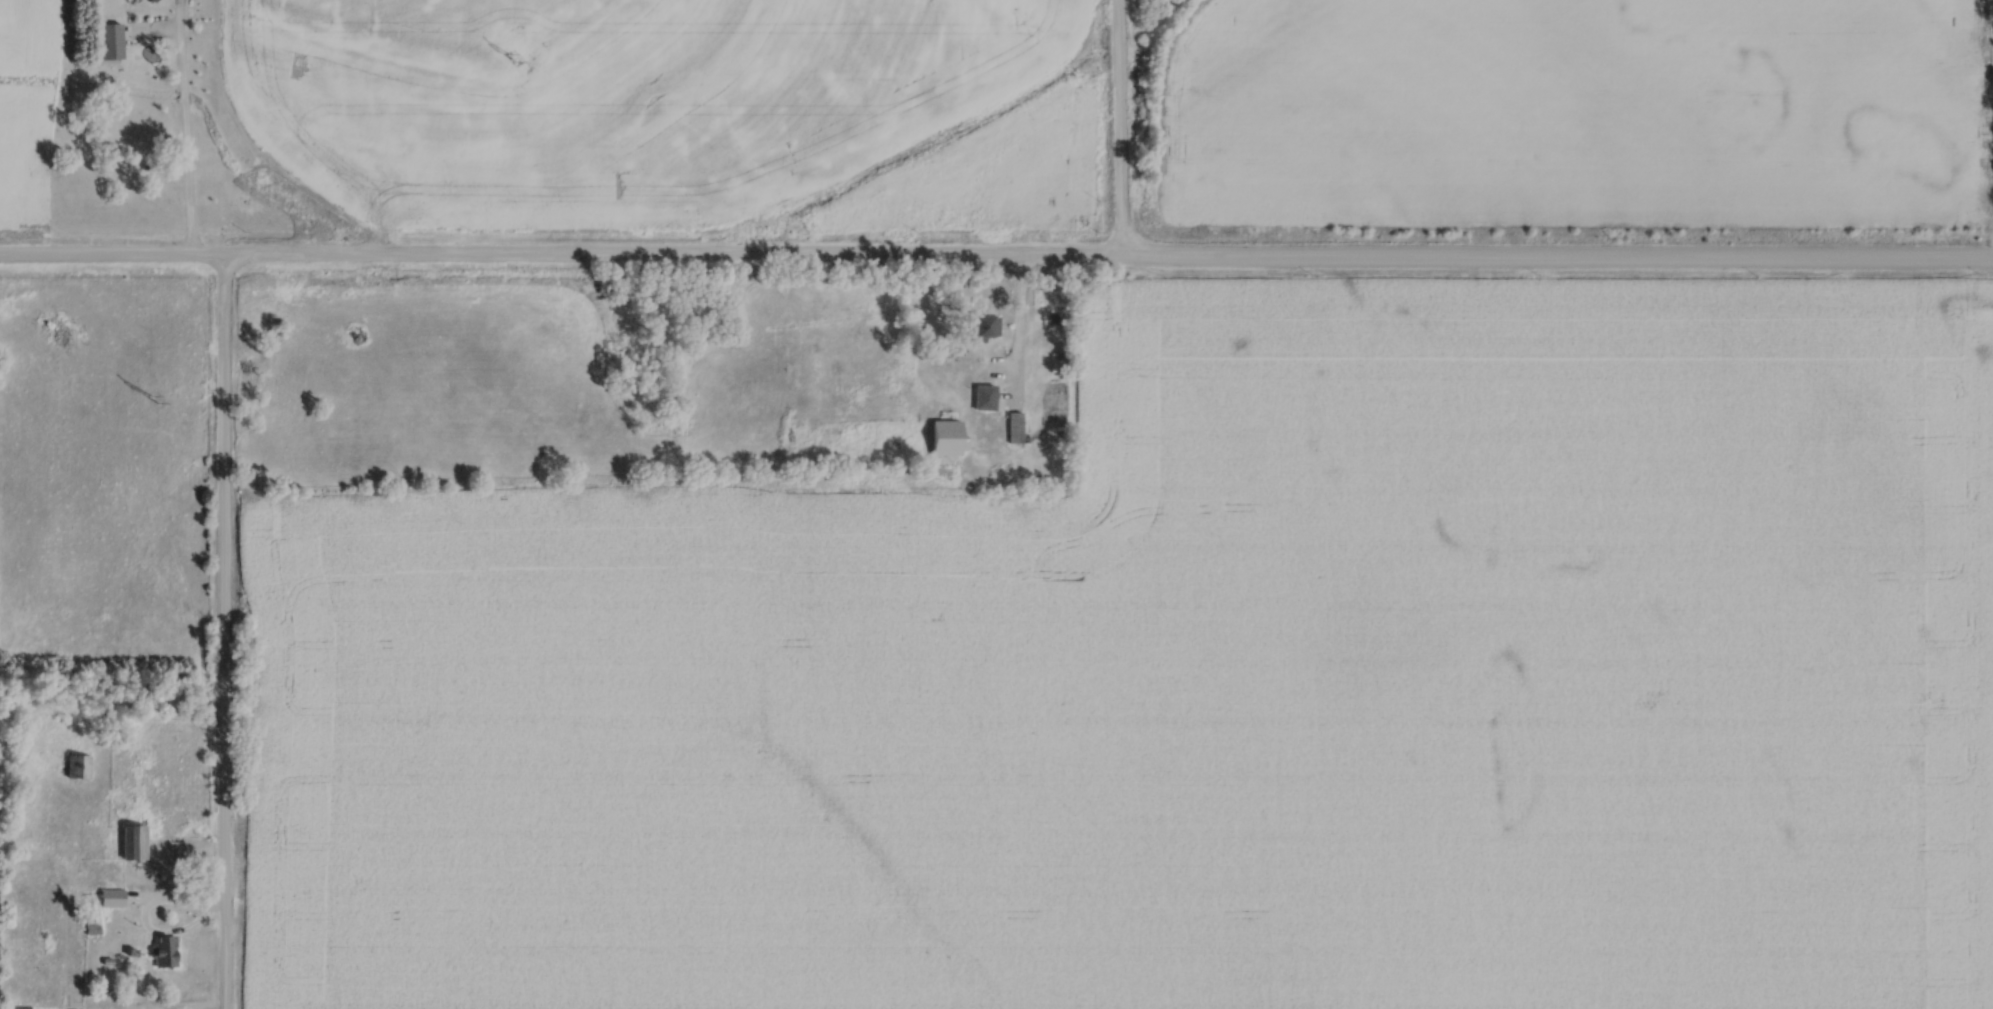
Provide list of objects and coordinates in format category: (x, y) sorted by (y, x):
building: (159, 0)
building: (118, 39)
power tower: (510, 54)
road: (1121, 127)
road: (186, 141)
road: (996, 254)
road: (1015, 325)
building: (982, 328)
power tower: (154, 397)
building: (982, 397)
building: (1013, 428)
building: (943, 438)
road: (225, 631)
building: (83, 764)
building: (137, 840)
building: (116, 896)
road: (145, 913)
building: (173, 944)
building: (24, 1006)

